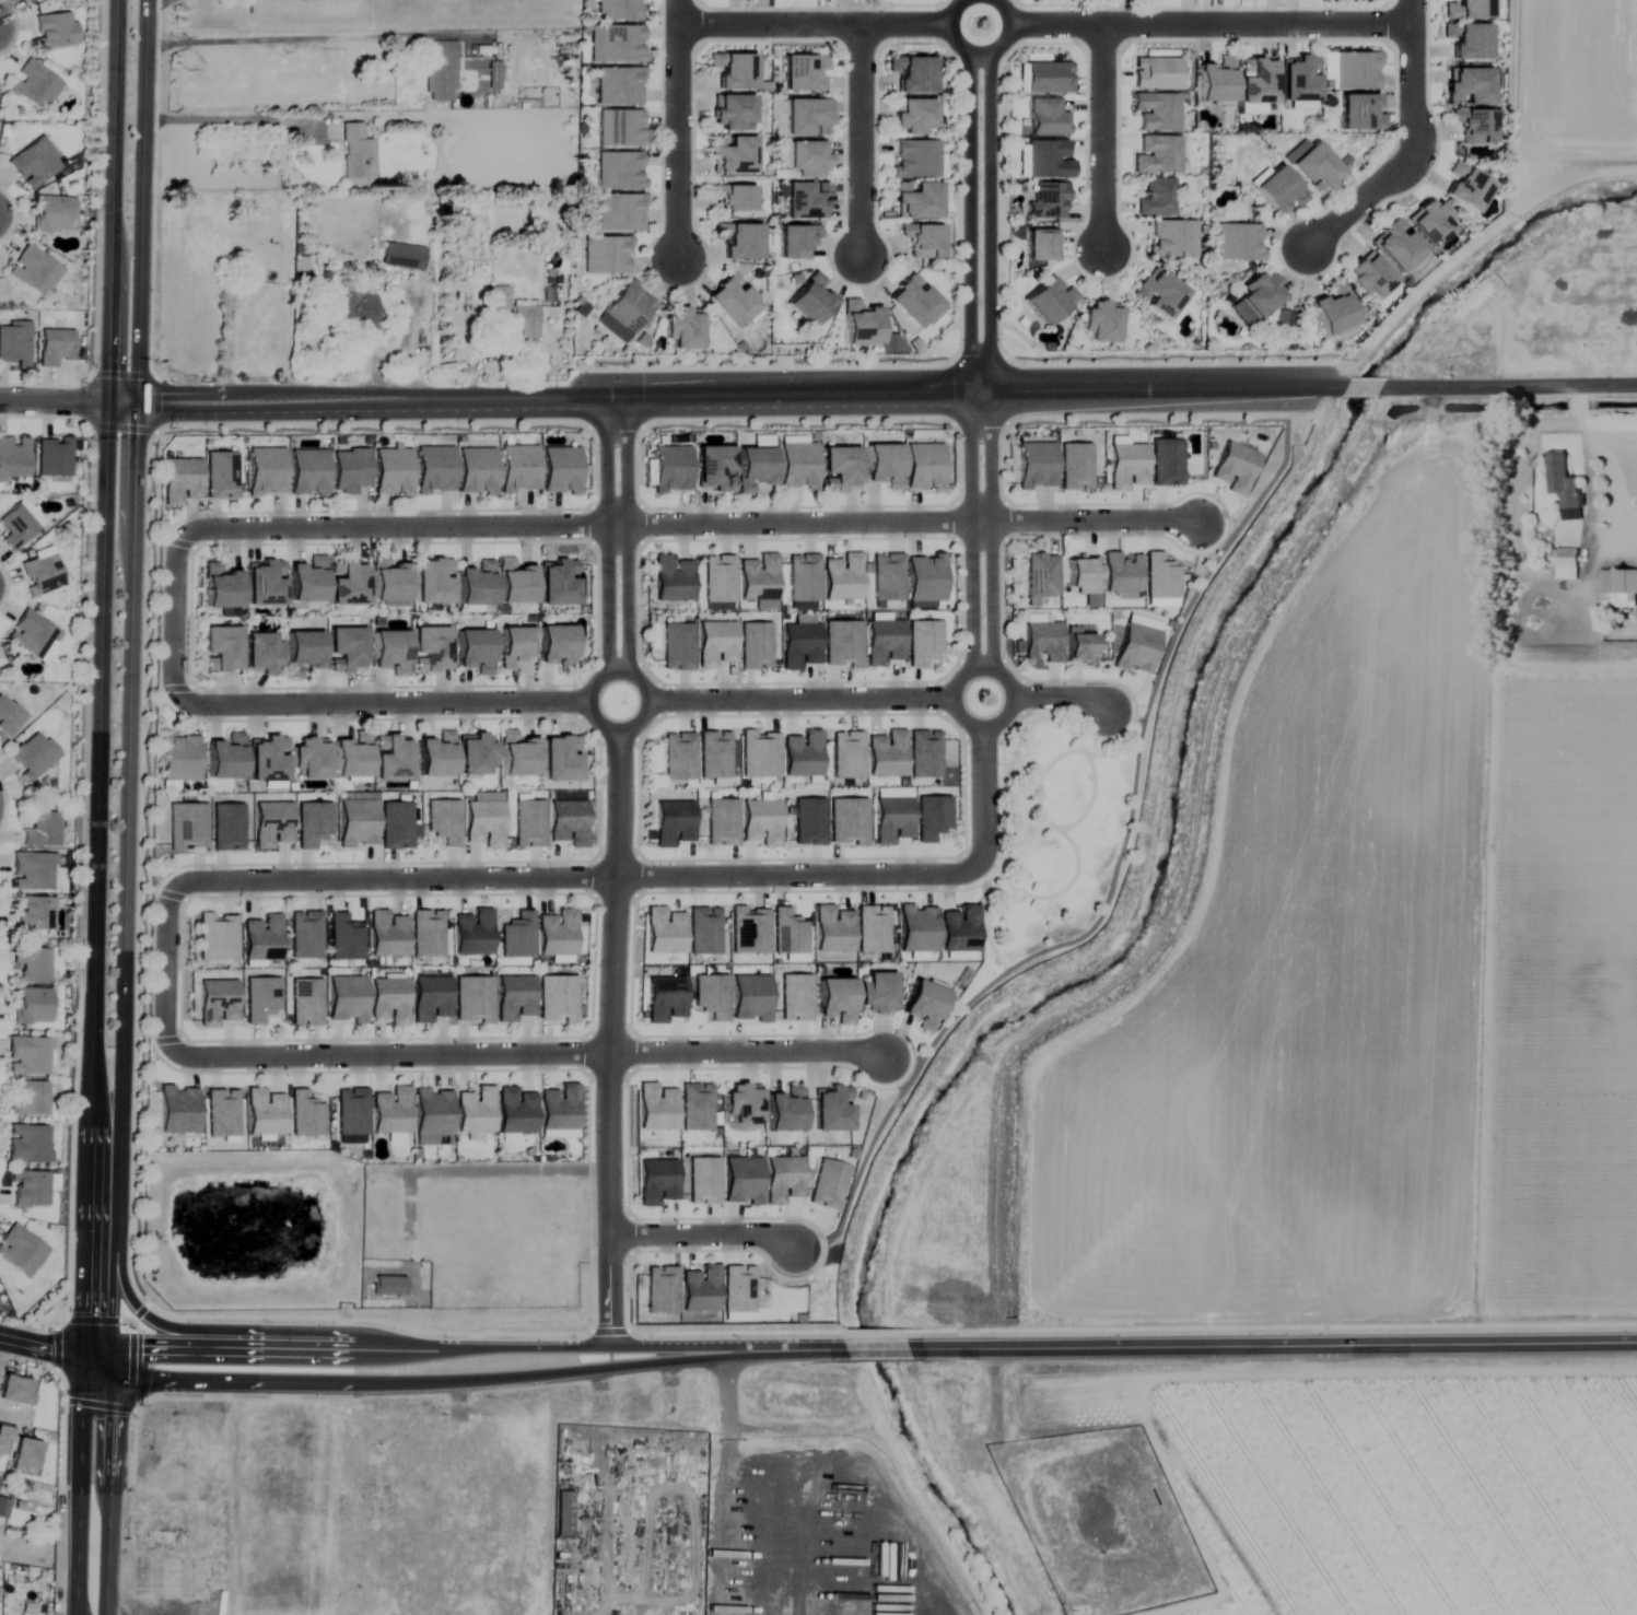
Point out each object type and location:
building: (26, 0)
building: (618, 10)
building: (1469, 10)
road: (1044, 26)
building: (55, 31)
road: (277, 39)
building: (1468, 42)
building: (620, 45)
building: (439, 71)
building: (1356, 71)
building: (733, 72)
building: (803, 73)
building: (913, 74)
building: (1299, 80)
building: (1216, 81)
building: (1256, 82)
building: (33, 85)
building: (619, 86)
building: (1469, 89)
building: (732, 113)
building: (1359, 115)
building: (806, 118)
building: (914, 118)
building: (1046, 118)
road: (232, 119)
building: (1474, 127)
building: (620, 128)
road: (676, 129)
road: (1101, 139)
road: (860, 142)
road: (1414, 149)
building: (356, 153)
building: (732, 155)
building: (807, 159)
building: (915, 160)
building: (34, 163)
building: (1316, 169)
building: (619, 172)
building: (1468, 189)
building: (1279, 191)
road: (980, 196)
building: (1156, 198)
building: (733, 199)
building: (806, 201)
building: (917, 201)
building: (1048, 201)
building: (620, 213)
building: (52, 215)
building: (1431, 224)
building: (1171, 239)
building: (738, 242)
building: (796, 242)
building: (923, 242)
building: (1237, 243)
building: (1398, 247)
building: (248, 254)
building: (606, 255)
building: (401, 257)
building: (33, 272)
building: (1370, 278)
building: (1159, 295)
building: (1256, 300)
building: (733, 302)
building: (810, 302)
building: (914, 303)
building: (1050, 303)
building: (629, 309)
building: (1333, 312)
building: (512, 314)
building: (361, 315)
building: (1102, 324)
building: (861, 325)
building: (683, 329)
building: (13, 344)
building: (56, 349)
road: (887, 394)
road: (68, 398)
building: (54, 456)
building: (13, 458)
road: (1607, 461)
building: (885, 465)
building: (798, 466)
building: (1037, 466)
building: (755, 467)
building: (924, 467)
building: (518, 468)
building: (715, 468)
building: (671, 469)
building: (840, 469)
building: (349, 470)
building: (434, 470)
building: (477, 470)
building: (561, 470)
building: (266, 471)
building: (393, 471)
building: (308, 472)
building: (1563, 480)
building: (17, 525)
road: (693, 527)
building: (1567, 558)
building: (42, 572)
building: (388, 578)
building: (307, 580)
building: (925, 580)
building: (432, 581)
building: (347, 582)
building: (514, 582)
building: (558, 582)
building: (265, 583)
building: (476, 583)
building: (221, 587)
building: (1618, 587)
road: (174, 622)
road: (981, 635)
building: (34, 636)
building: (514, 644)
building: (557, 645)
building: (431, 646)
building: (220, 648)
building: (346, 649)
building: (473, 649)
building: (389, 651)
building: (303, 652)
building: (261, 653)
road: (656, 700)
building: (7, 717)
building: (475, 753)
building: (33, 754)
building: (435, 754)
building: (516, 754)
building: (352, 756)
building: (179, 757)
building: (225, 757)
building: (309, 757)
building: (559, 758)
building: (267, 759)
building: (393, 759)
road: (97, 807)
road: (125, 807)
park: (1062, 822)
building: (42, 829)
road: (612, 870)
building: (32, 871)
road: (574, 877)
building: (33, 913)
building: (31, 964)
building: (876, 993)
building: (835, 999)
building: (924, 1004)
building: (30, 1006)
crop: (1369, 1049)
building: (27, 1056)
road: (437, 1056)
building: (28, 1100)
building: (743, 1103)
building: (785, 1109)
building: (832, 1110)
building: (27, 1144)
building: (28, 1189)
road: (702, 1238)
building: (21, 1251)
building: (388, 1286)
building: (431, 1286)
road: (143, 1312)
road: (172, 1341)
road: (40, 1342)
road: (1279, 1342)
road: (295, 1343)
road: (397, 1344)
road: (583, 1344)
road: (876, 1345)
road: (777, 1347)
road: (95, 1351)
road: (540, 1371)
road: (227, 1377)
building: (16, 1391)
road: (728, 1406)
building: (4, 1438)
building: (25, 1456)
road: (852, 1479)
building: (5, 1510)
building: (563, 1514)
road: (913, 1536)
building: (160, 1538)
road: (726, 1541)
building: (274, 1571)
building: (888, 1602)
road: (78, 1610)

